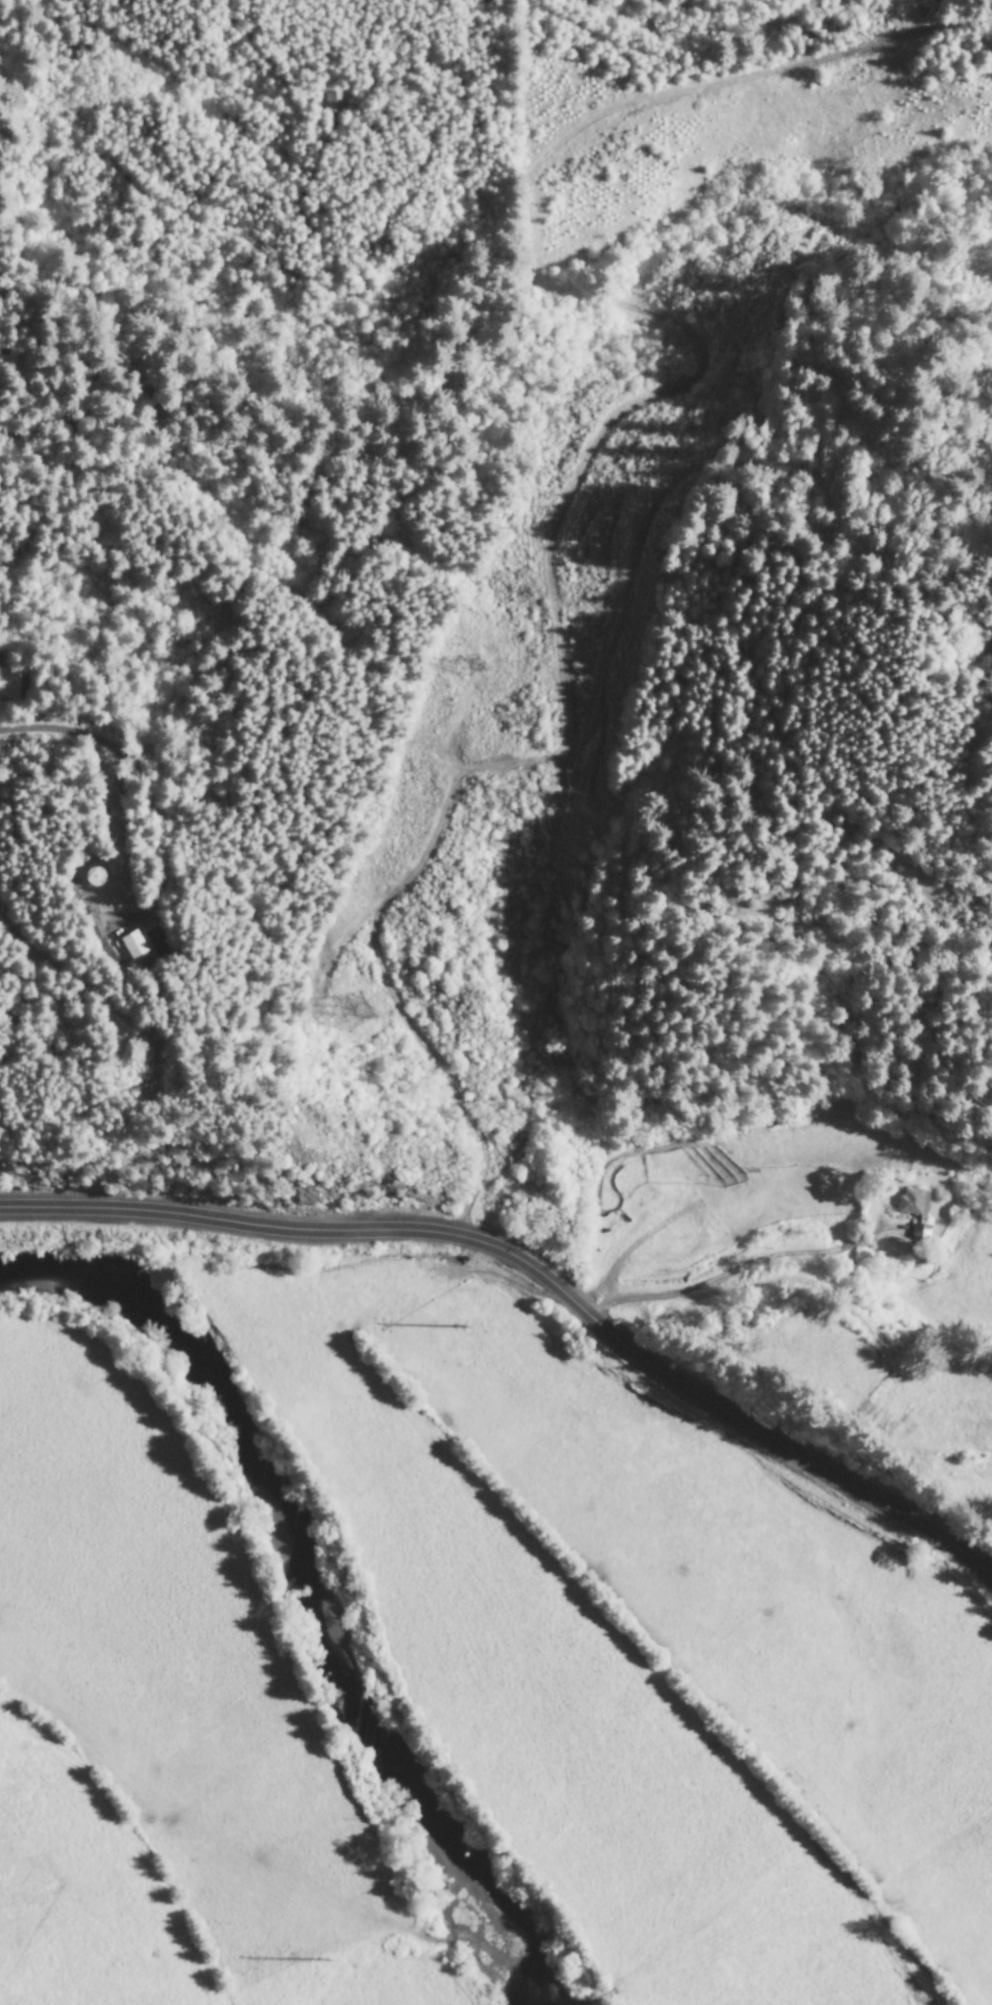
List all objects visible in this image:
power tower: (470, 667)
road: (144, 787)
building: (91, 877)
building: (132, 946)
power tower: (351, 1013)
building: (911, 1203)
building: (918, 1234)
road: (733, 1275)
road: (538, 1278)

